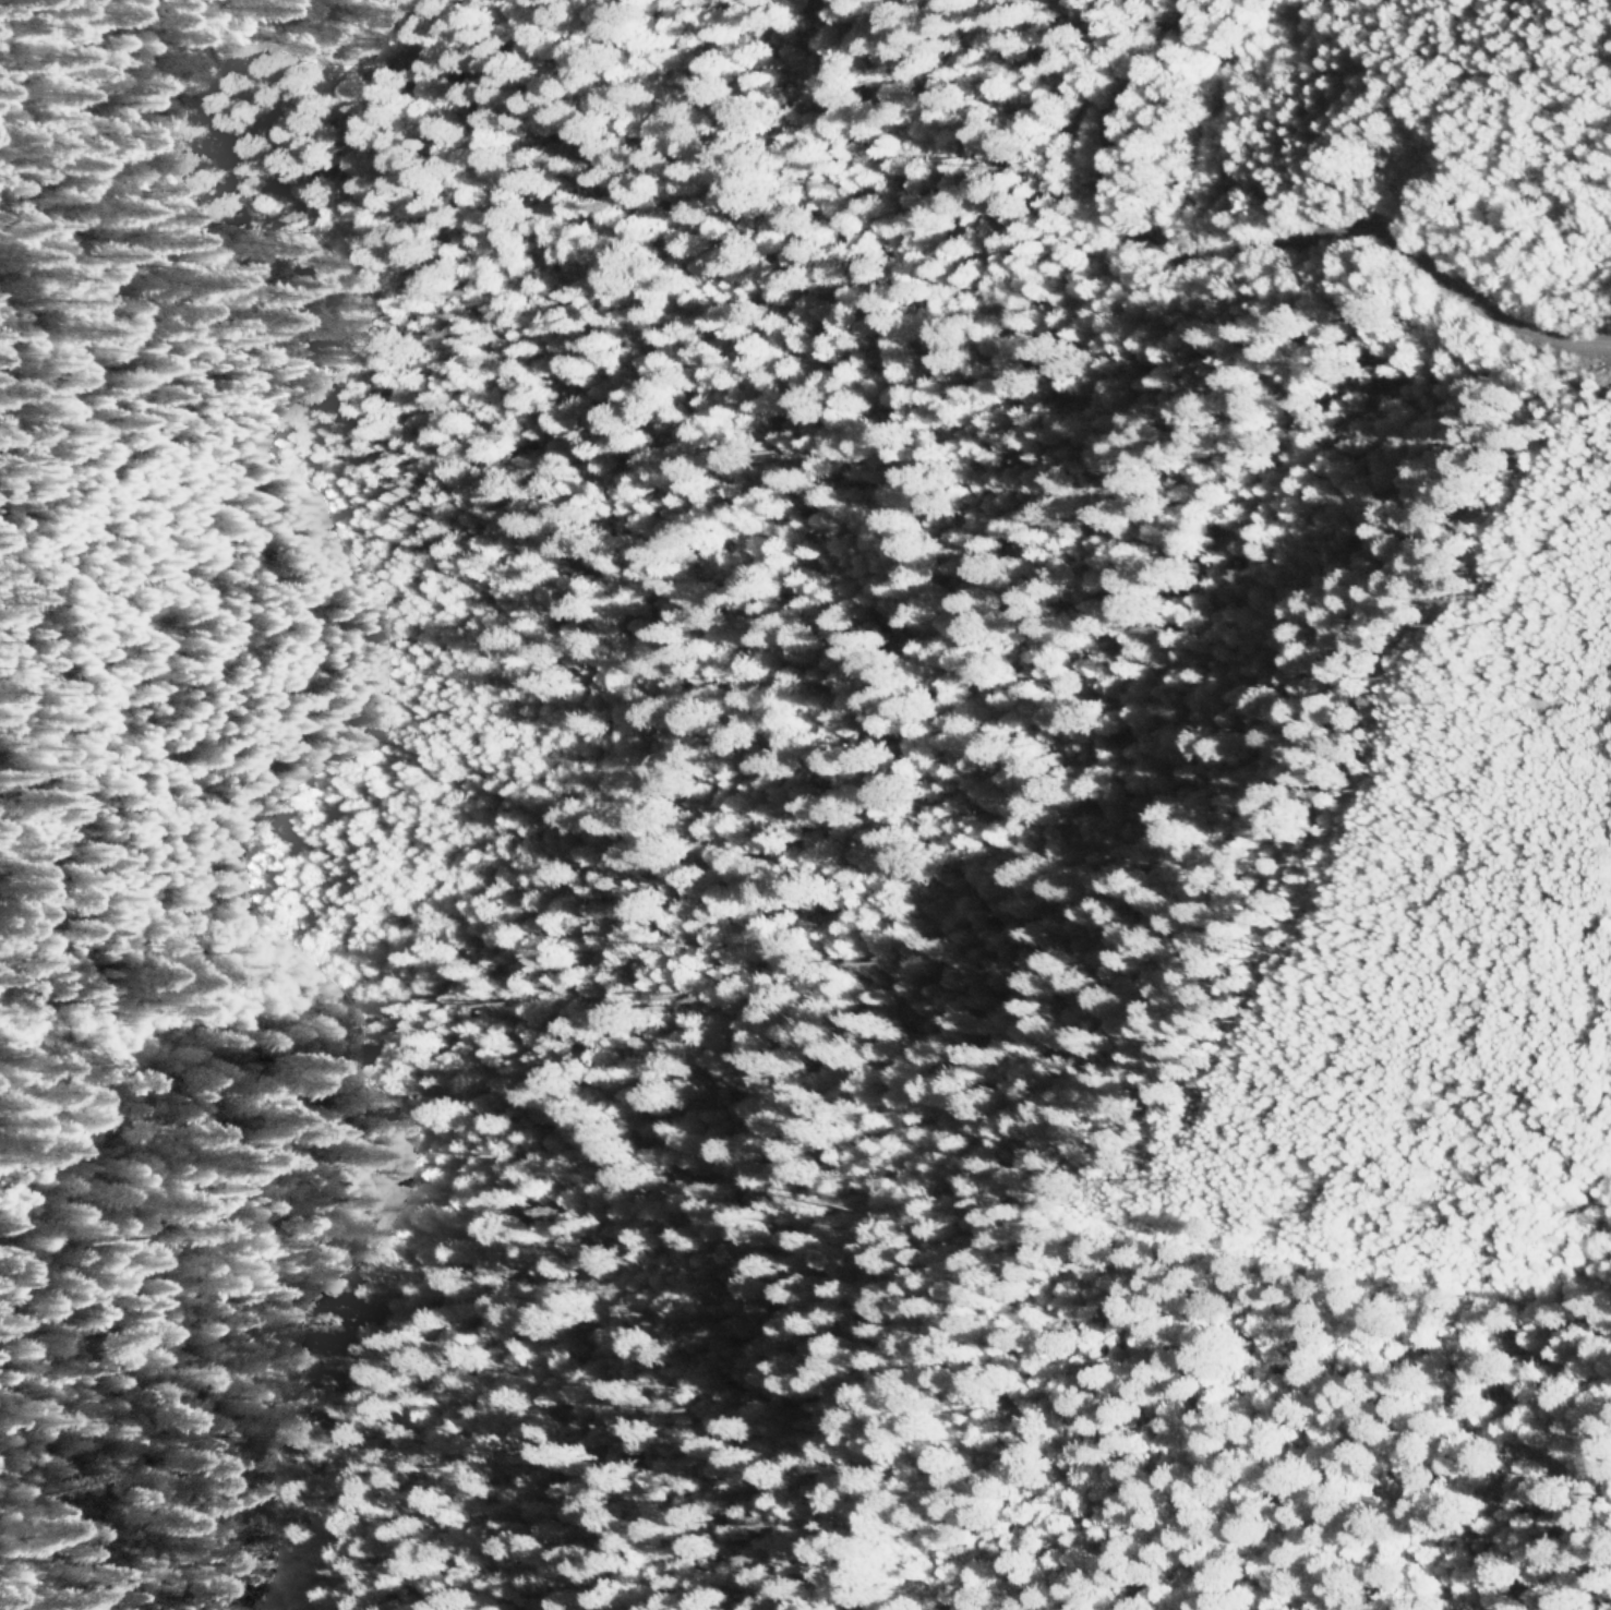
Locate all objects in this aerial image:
road: (1300, 182)
road: (1575, 641)

